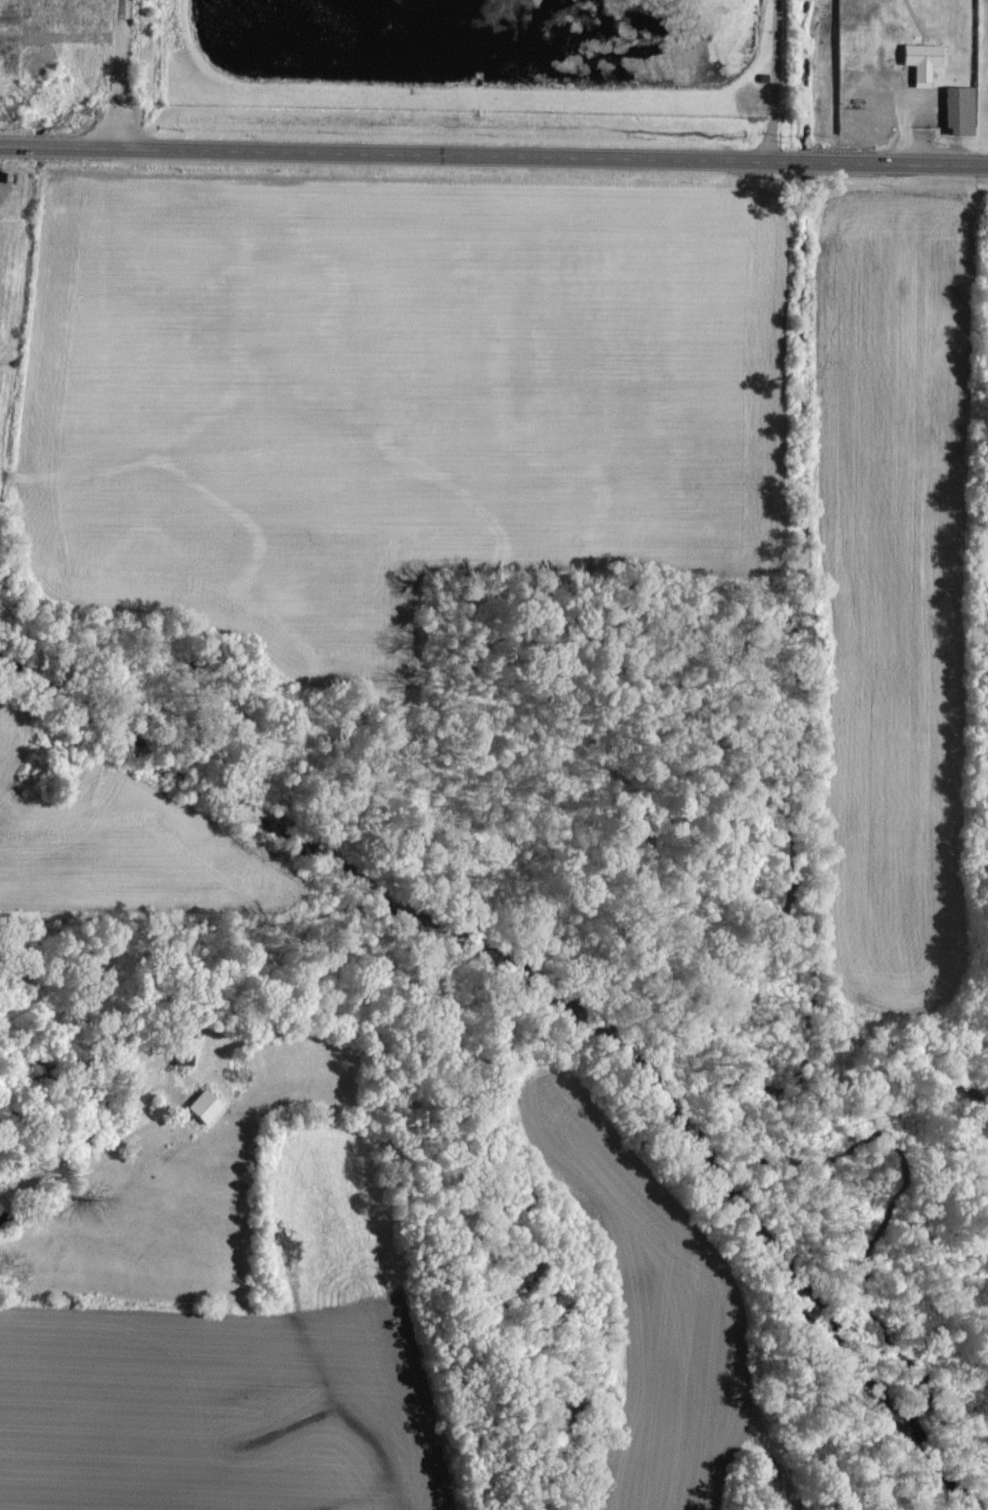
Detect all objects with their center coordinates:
quarry: (74, 54)
wastewater plant: (476, 58)
building: (920, 60)
road: (117, 77)
road: (774, 82)
building: (957, 109)
road: (493, 159)
building: (182, 1046)
building: (202, 1105)

